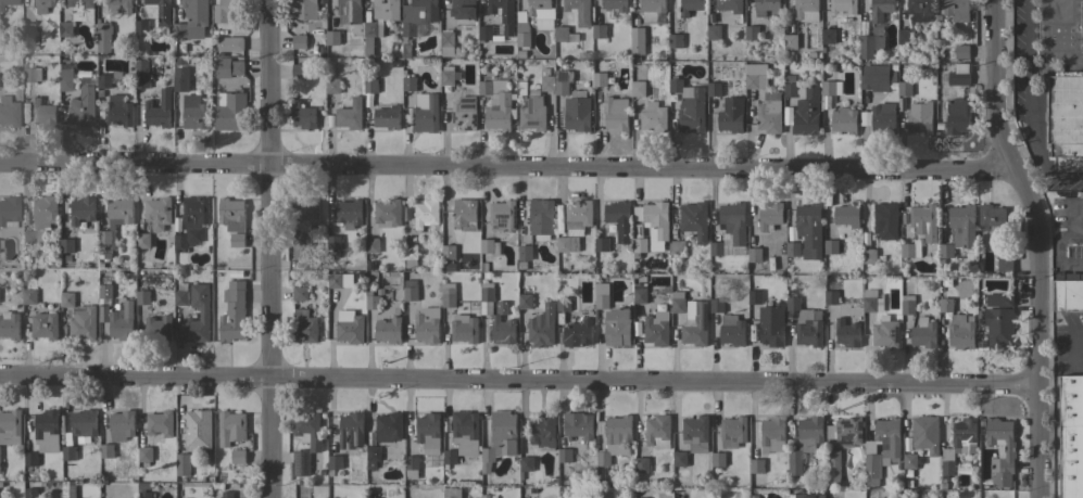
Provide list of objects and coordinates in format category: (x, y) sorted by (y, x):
building: (7, 3)
building: (117, 4)
building: (42, 5)
building: (577, 5)
building: (615, 5)
building: (690, 7)
building: (843, 7)
building: (731, 8)
building: (766, 8)
building: (463, 9)
building: (880, 9)
building: (160, 10)
building: (227, 10)
building: (304, 10)
building: (386, 10)
building: (652, 10)
building: (806, 10)
building: (920, 10)
building: (957, 10)
building: (350, 11)
building: (541, 13)
building: (503, 14)
building: (418, 15)
building: (77, 16)
road: (1027, 20)
building: (192, 21)
building: (1081, 26)
building: (141, 27)
building: (27, 28)
building: (599, 31)
building: (714, 33)
building: (752, 33)
building: (488, 34)
building: (561, 34)
building: (370, 35)
building: (828, 36)
building: (103, 37)
building: (332, 37)
building: (522, 37)
building: (904, 37)
building: (675, 40)
building: (299, 42)
building: (637, 42)
building: (790, 42)
building: (230, 43)
building: (446, 43)
road: (1047, 44)
building: (869, 47)
building: (961, 52)
building: (228, 67)
building: (299, 71)
building: (30, 74)
building: (141, 74)
building: (446, 76)
building: (755, 76)
building: (874, 78)
building: (599, 79)
building: (65, 80)
building: (103, 81)
building: (564, 81)
building: (408, 84)
building: (547, 84)
building: (179, 85)
building: (332, 86)
building: (370, 86)
building: (790, 87)
building: (830, 87)
building: (484, 88)
building: (904, 88)
building: (638, 89)
building: (714, 89)
rooftop solar panel: (465, 100)
building: (958, 102)
rooftop solar panel: (466, 106)
building: (689, 106)
building: (83, 107)
building: (9, 111)
building: (118, 111)
building: (159, 111)
building: (230, 112)
building: (532, 112)
building: (577, 112)
building: (806, 112)
building: (42, 113)
building: (464, 113)
building: (499, 113)
building: (769, 113)
building: (425, 114)
building: (616, 114)
building: (350, 115)
building: (731, 115)
building: (303, 116)
building: (196, 117)
building: (387, 117)
rooftop solar panel: (453, 117)
building: (654, 117)
building: (880, 119)
rooftop solar panel: (474, 120)
building: (844, 120)
building: (919, 120)
building: (1066, 122)
rooftop solar panel: (458, 123)
road: (1031, 126)
rooftop solar panel: (468, 128)
road: (505, 169)
building: (1081, 195)
building: (81, 210)
building: (9, 212)
building: (119, 212)
building: (304, 213)
building: (349, 214)
building: (387, 214)
building: (426, 214)
building: (231, 215)
building: (465, 215)
building: (159, 216)
building: (502, 216)
building: (847, 216)
building: (578, 217)
building: (769, 217)
building: (807, 217)
building: (884, 217)
building: (992, 218)
building: (40, 219)
building: (619, 219)
building: (654, 219)
building: (541, 220)
building: (694, 220)
building: (733, 221)
building: (923, 221)
building: (191, 222)
building: (1082, 225)
building: (962, 226)
road: (1080, 233)
building: (237, 240)
building: (142, 241)
building: (332, 242)
building: (104, 244)
building: (567, 244)
building: (601, 244)
road: (1033, 244)
building: (66, 245)
building: (372, 245)
building: (639, 245)
building: (302, 246)
building: (490, 246)
building: (830, 246)
road: (272, 248)
building: (678, 248)
building: (716, 248)
building: (792, 248)
building: (910, 250)
building: (945, 251)
road: (1056, 251)
building: (448, 252)
building: (525, 253)
building: (410, 255)
building: (754, 255)
building: (869, 256)
building: (1005, 265)
building: (446, 268)
building: (483, 268)
building: (339, 280)
building: (410, 291)
building: (104, 292)
building: (1068, 292)
building: (299, 293)
building: (639, 293)
building: (487, 294)
building: (1, 296)
building: (28, 296)
building: (602, 296)
building: (142, 297)
building: (448, 297)
building: (754, 297)
building: (831, 297)
building: (66, 299)
building: (525, 299)
building: (1000, 299)
building: (372, 302)
building: (871, 302)
building: (678, 303)
building: (563, 304)
building: (792, 304)
building: (716, 305)
building: (907, 305)
building: (945, 305)
building: (500, 308)
rooftop solar panel: (697, 310)
building: (204, 311)
building: (232, 312)
rooftop solar panel: (705, 320)
rooftop solar panel: (700, 322)
building: (122, 323)
building: (695, 323)
building: (84, 324)
building: (9, 325)
building: (45, 325)
building: (427, 325)
building: (771, 325)
building: (304, 327)
building: (617, 327)
building: (159, 328)
building: (349, 328)
building: (541, 328)
building: (808, 328)
building: (998, 328)
building: (464, 329)
building: (656, 329)
building: (388, 330)
building: (503, 330)
building: (732, 331)
building: (884, 332)
building: (578, 333)
building: (847, 333)
building: (923, 333)
building: (962, 336)
road: (517, 380)
building: (84, 423)
building: (160, 423)
building: (122, 425)
building: (578, 425)
building: (198, 426)
building: (10, 427)
building: (47, 427)
building: (389, 427)
building: (231, 429)
building: (428, 430)
building: (351, 431)
building: (543, 431)
building: (658, 431)
building: (846, 431)
building: (732, 432)
building: (465, 433)
building: (695, 434)
building: (772, 434)
building: (925, 434)
building: (965, 436)
building: (1071, 436)
building: (500, 438)
building: (615, 438)
building: (305, 439)
building: (805, 443)
building: (881, 448)
building: (106, 450)
building: (1000, 451)
building: (67, 454)
building: (144, 455)
building: (373, 455)
building: (564, 456)
building: (238, 457)
building: (450, 457)
building: (30, 459)
building: (680, 459)
building: (718, 459)
building: (909, 460)
building: (832, 461)
building: (335, 462)
building: (412, 462)
building: (181, 464)
building: (526, 464)
building: (641, 464)
building: (756, 465)
building: (946, 469)
building: (452, 493)
building: (30, 494)
building: (144, 495)
building: (227, 495)
building: (754, 496)
building: (809, 496)
building: (68, 497)

